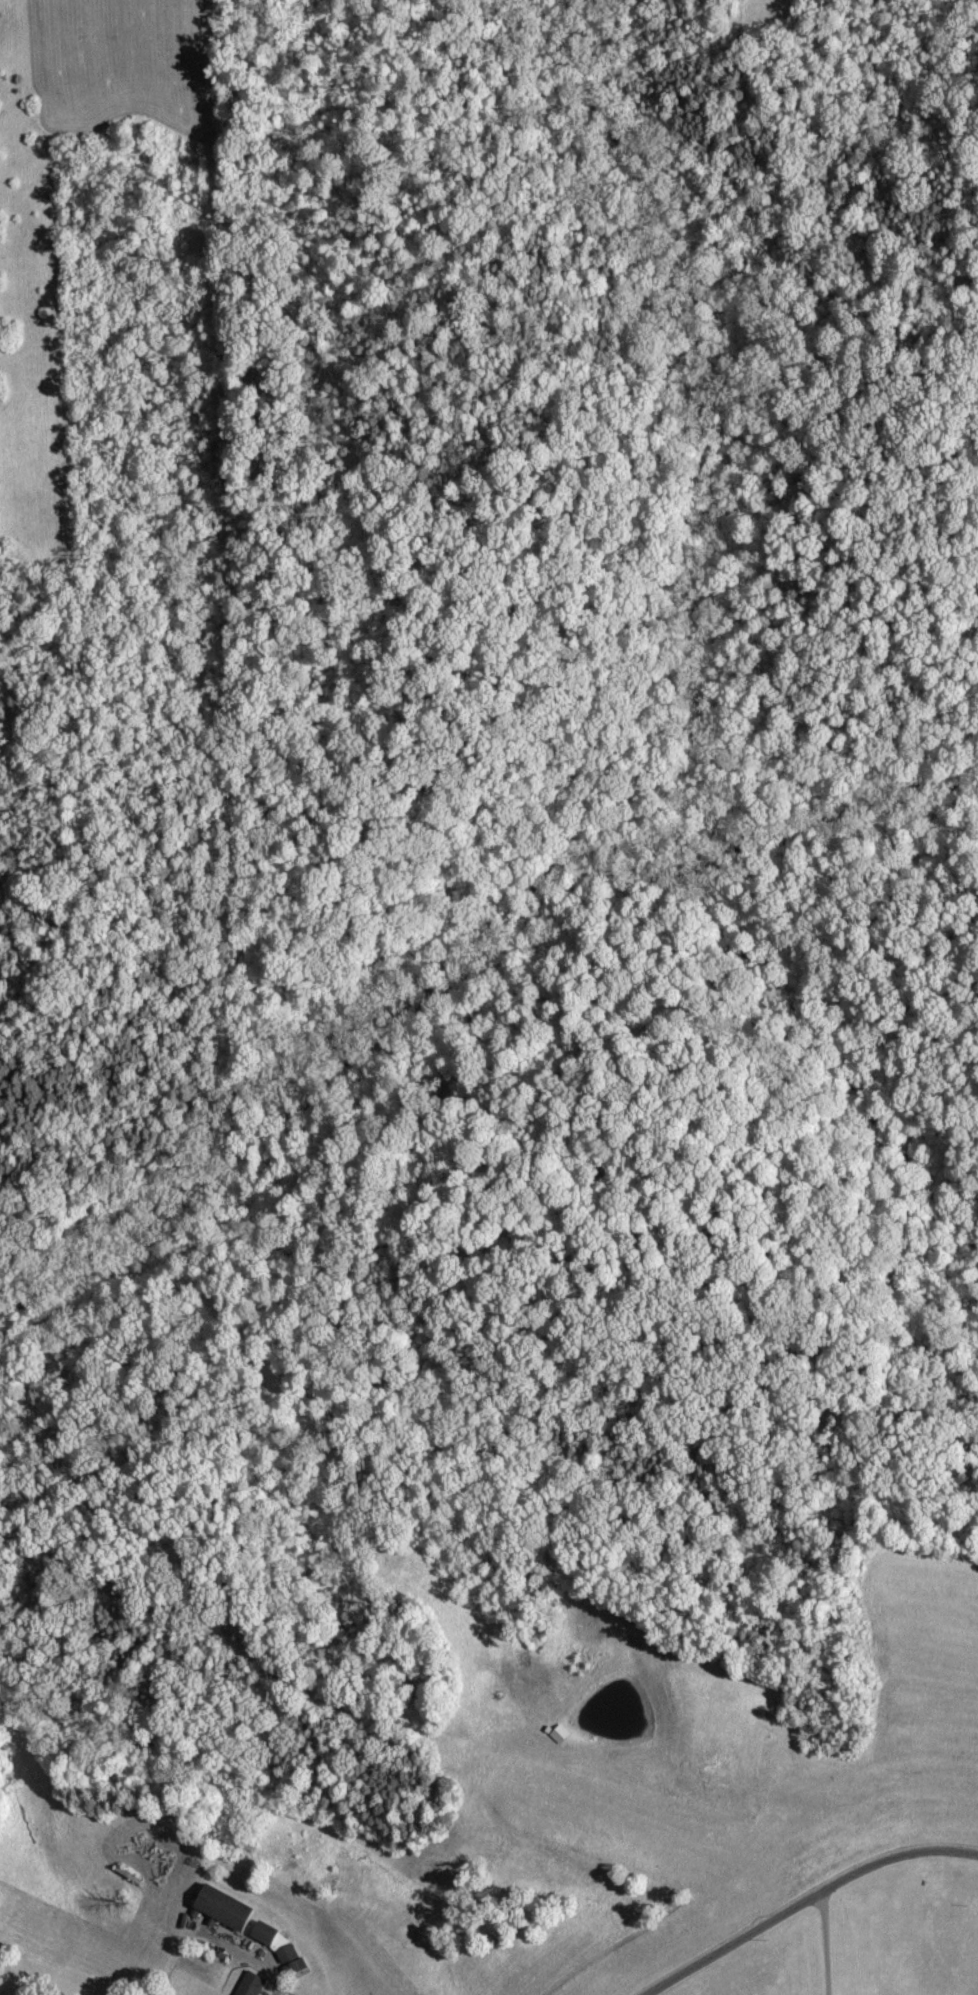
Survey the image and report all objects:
road: (813, 1907)
building: (219, 1908)
road: (826, 1948)
building: (246, 1984)
road: (267, 1987)

